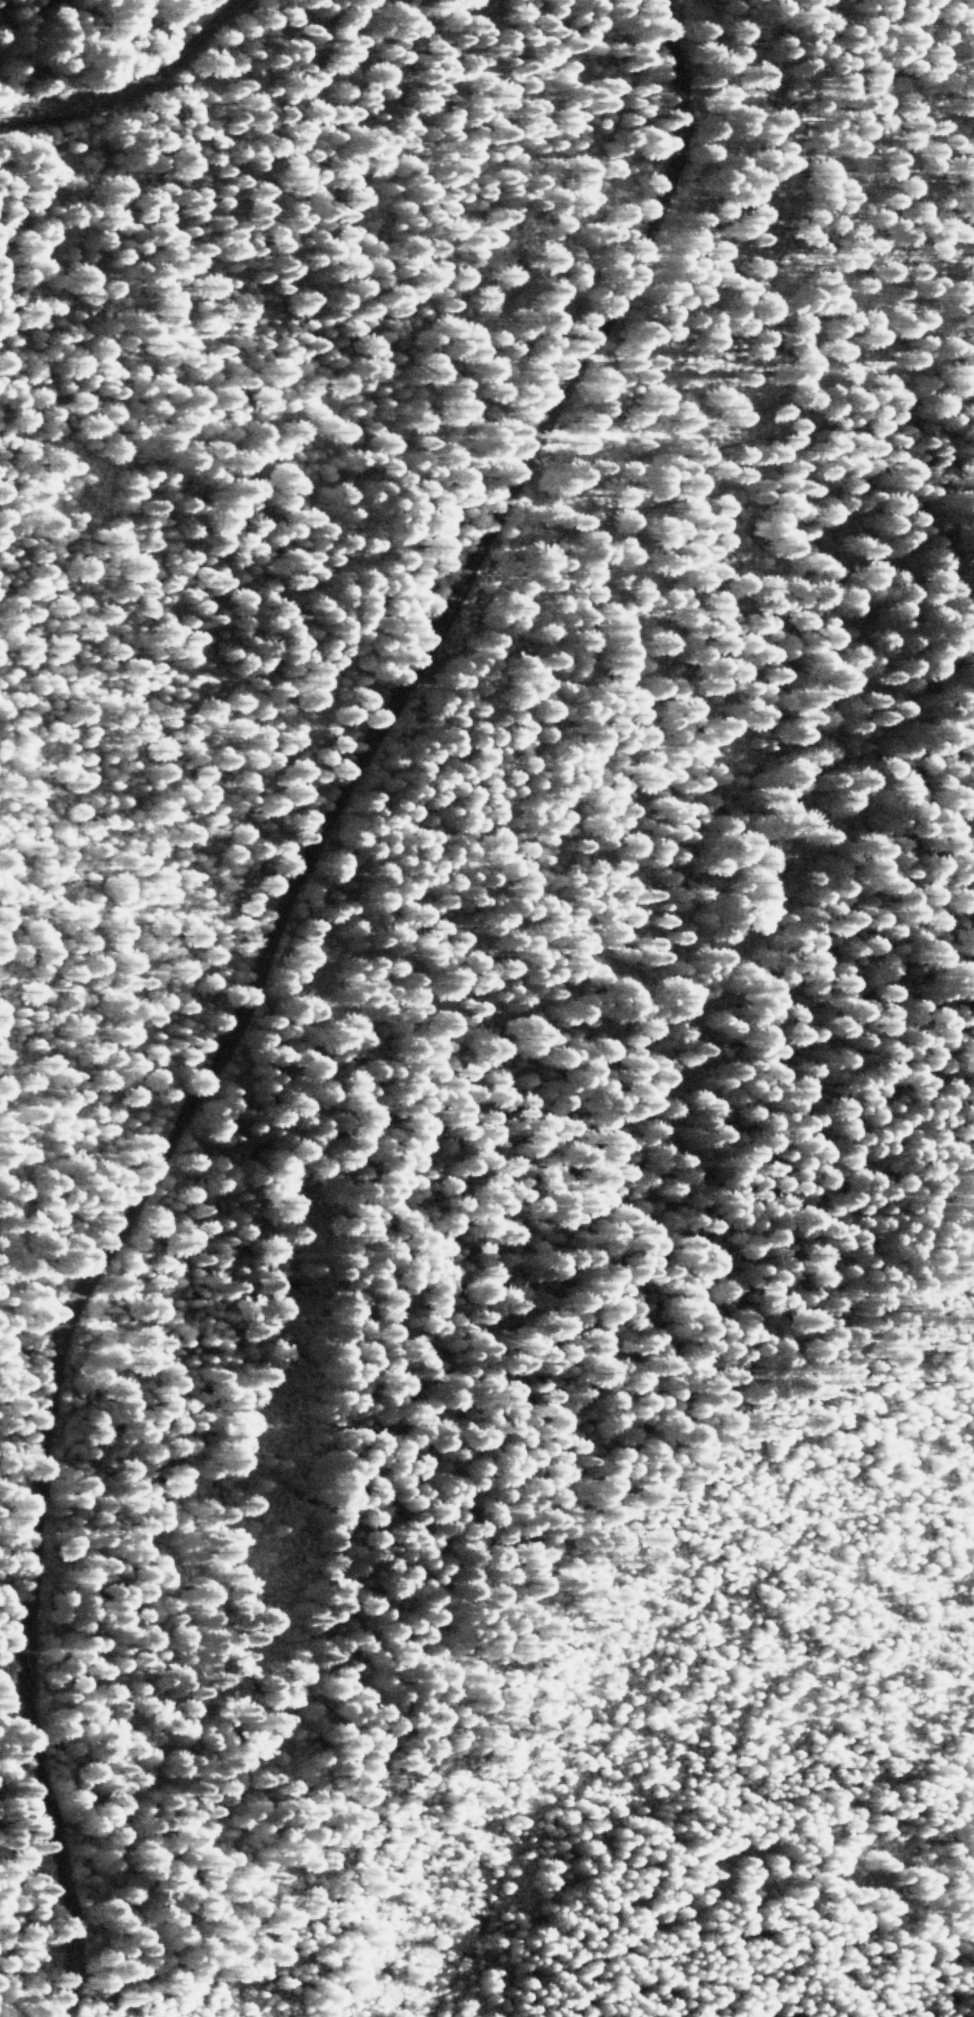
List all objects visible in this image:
road: (126, 82)
road: (240, 980)

